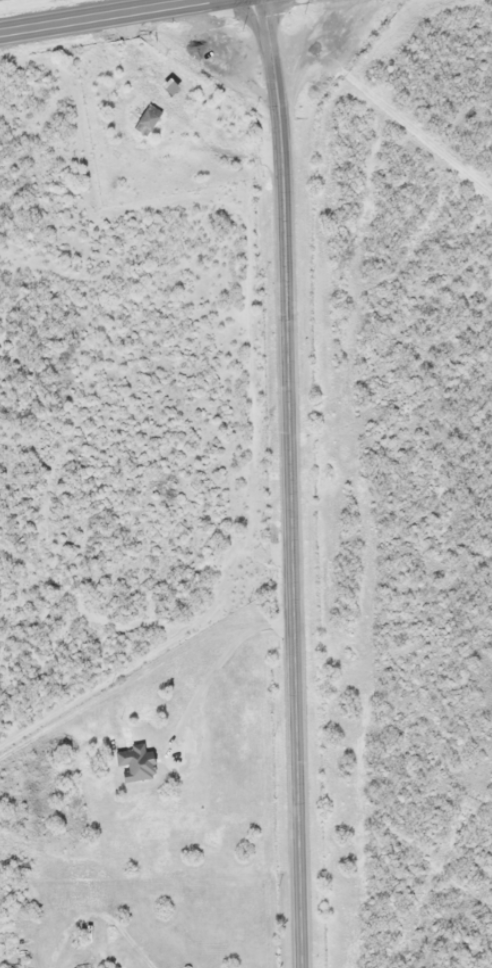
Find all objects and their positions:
road: (100, 14)
building: (167, 87)
building: (145, 119)
road: (290, 483)
building: (133, 766)
building: (96, 946)

